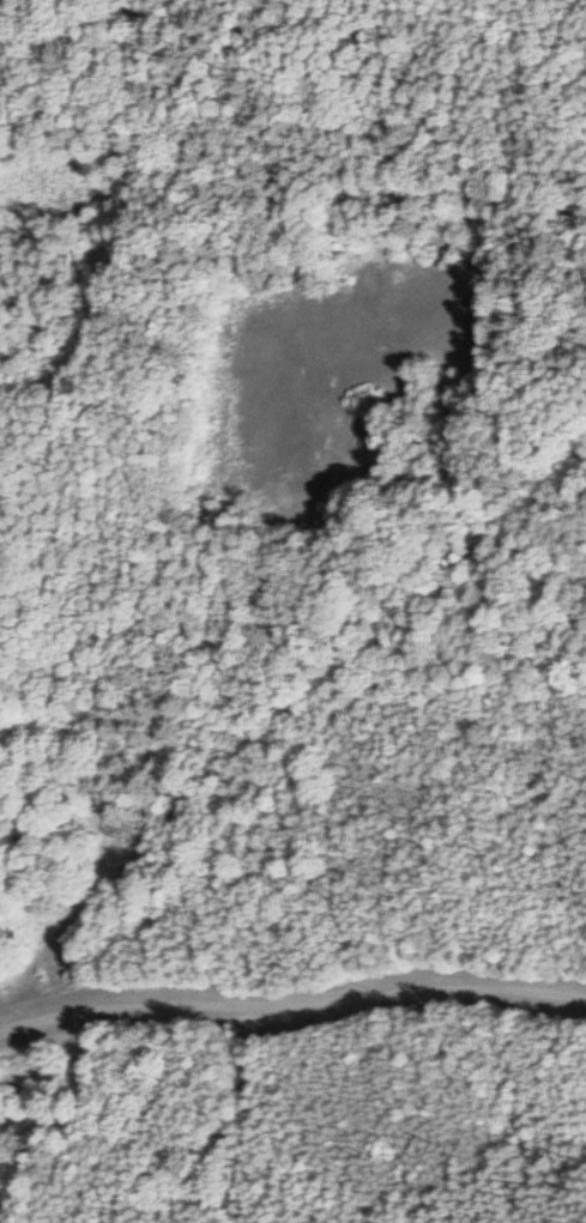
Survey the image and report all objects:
road: (291, 1005)

